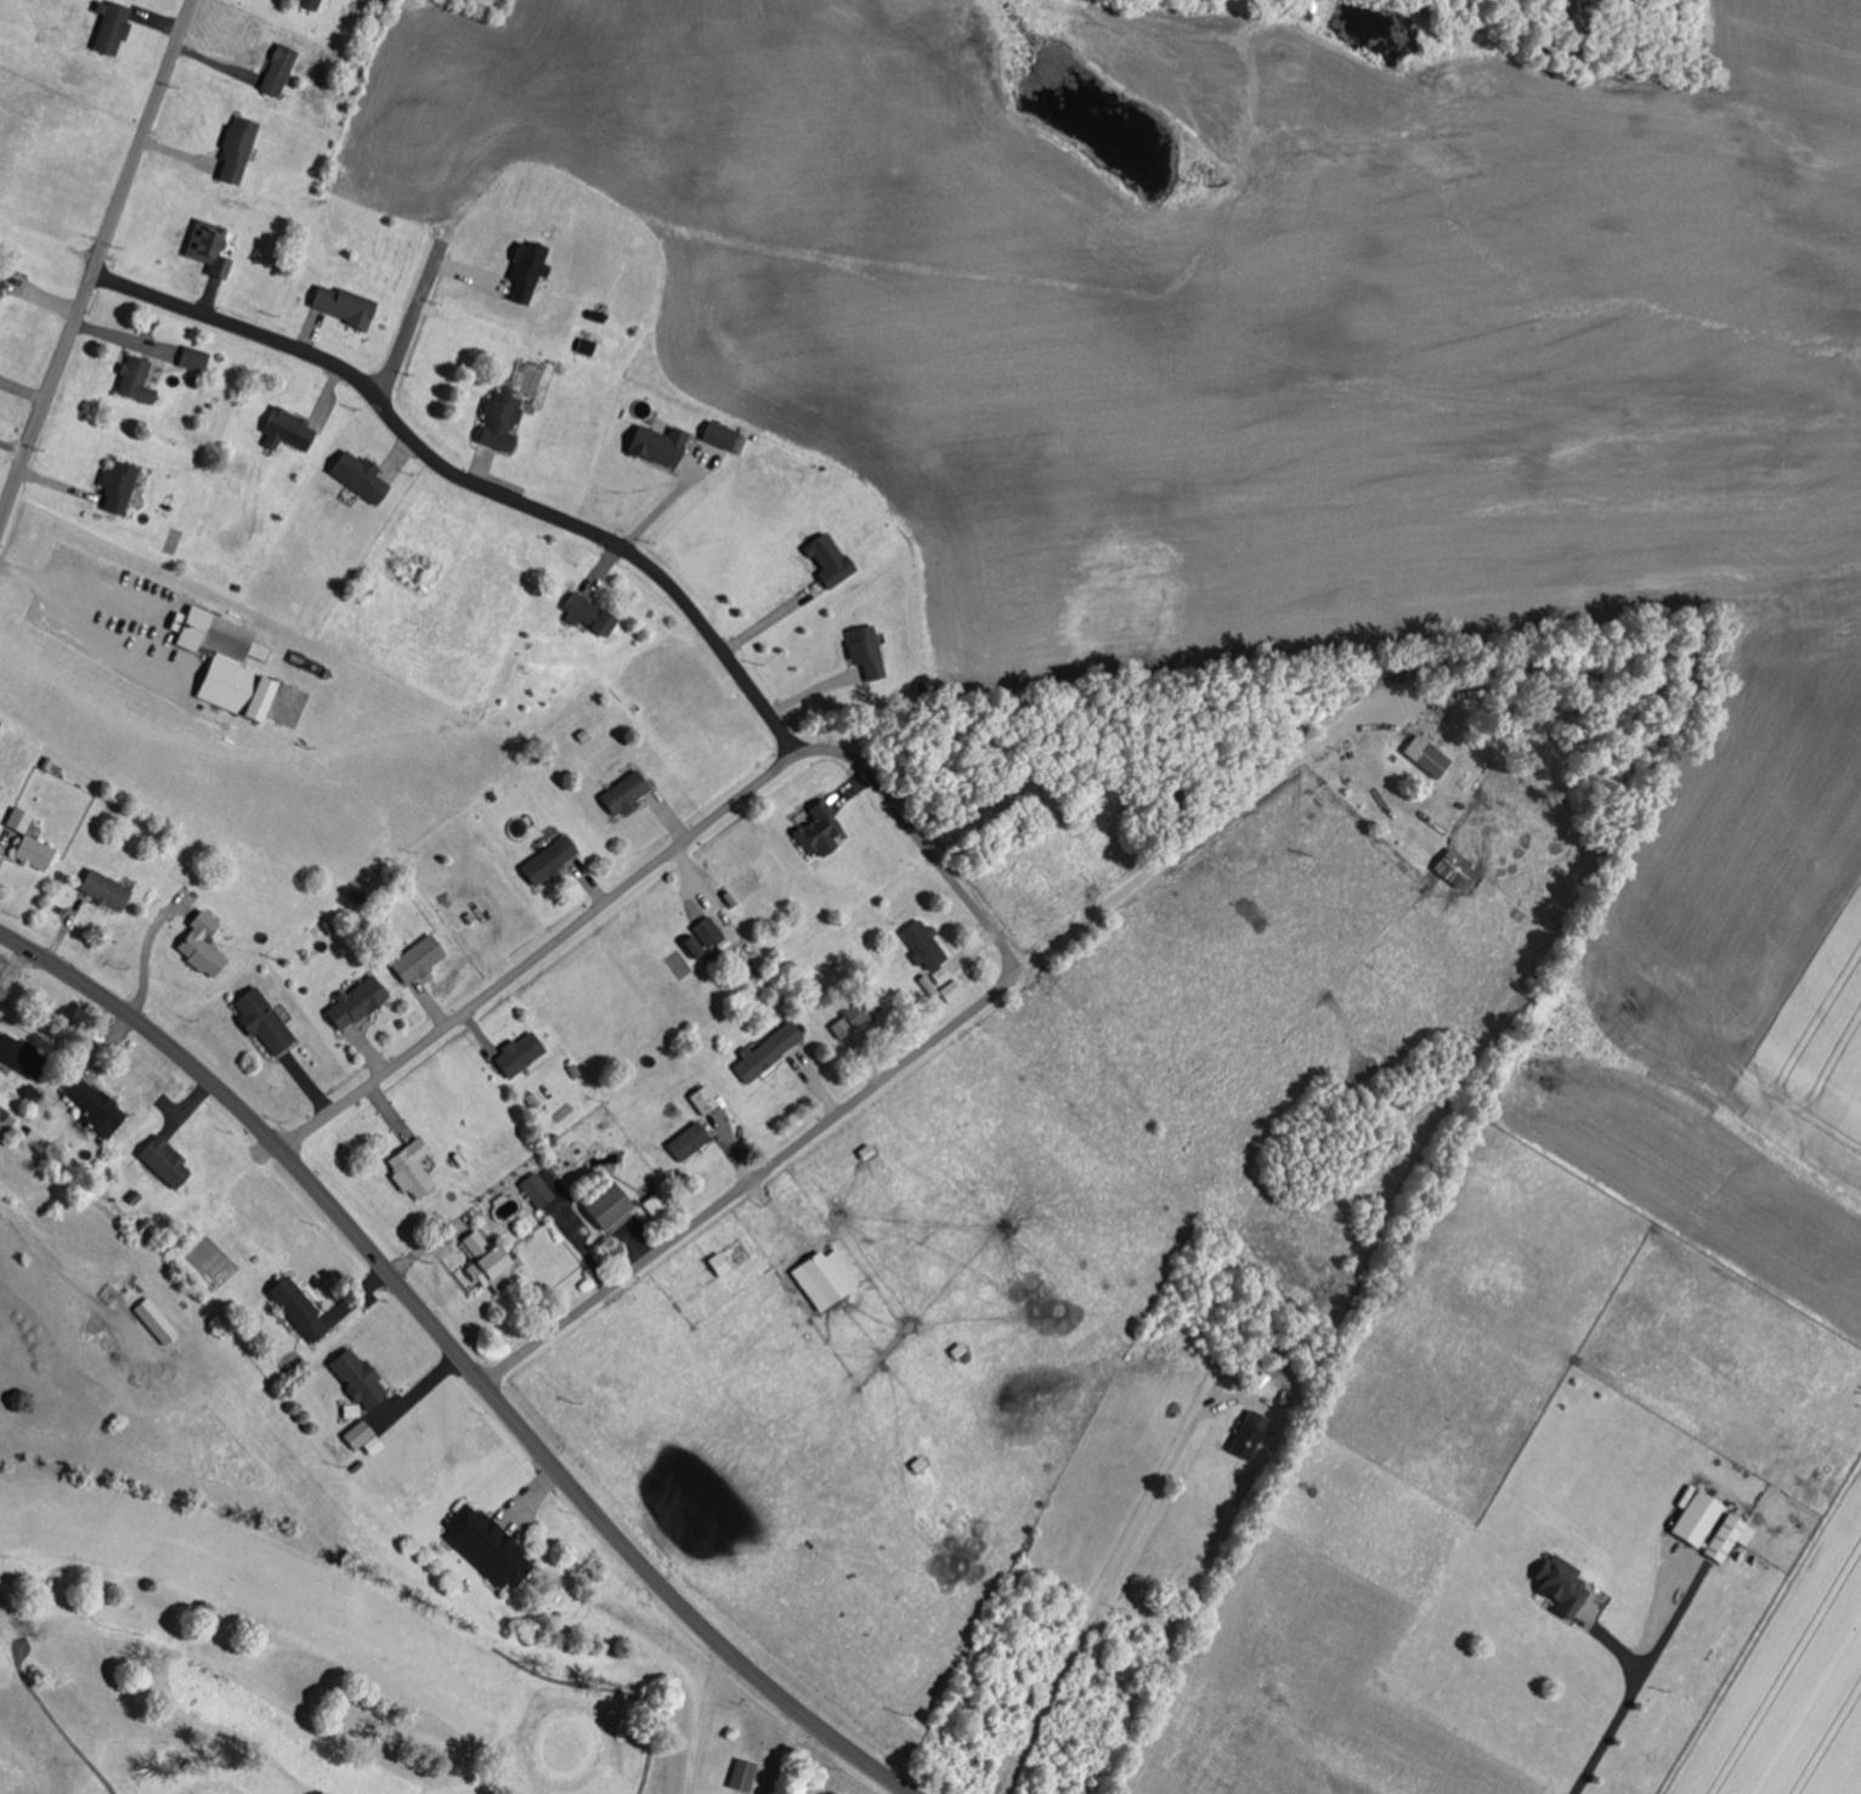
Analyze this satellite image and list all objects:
building: (306, 4)
building: (107, 27)
building: (276, 69)
building: (233, 151)
building: (210, 247)
road: (97, 265)
building: (522, 271)
building: (0, 279)
building: (340, 305)
road: (408, 322)
building: (191, 357)
building: (131, 380)
building: (496, 419)
building: (285, 430)
building: (717, 435)
building: (652, 446)
building: (356, 476)
road: (471, 483)
building: (114, 487)
building: (825, 560)
building: (584, 615)
building: (862, 651)
building: (264, 652)
building: (232, 663)
building: (2, 724)
building: (1422, 755)
building: (630, 792)
road: (1199, 797)
building: (23, 819)
building: (821, 828)
building: (39, 853)
building: (555, 859)
building: (1450, 867)
building: (111, 889)
road: (962, 889)
road: (610, 901)
building: (706, 936)
building: (928, 944)
building: (208, 945)
building: (424, 957)
building: (945, 974)
building: (956, 990)
building: (364, 1001)
building: (268, 1021)
building: (853, 1021)
building: (773, 1049)
building: (525, 1053)
building: (26, 1056)
building: (709, 1099)
building: (101, 1105)
building: (696, 1139)
building: (171, 1161)
building: (418, 1168)
road: (769, 1170)
building: (541, 1190)
building: (617, 1205)
building: (660, 1207)
building: (498, 1262)
building: (725, 1263)
building: (831, 1278)
building: (305, 1309)
building: (162, 1320)
road: (460, 1357)
building: (363, 1377)
building: (1245, 1434)
building: (368, 1437)
building: (1693, 1518)
building: (1725, 1538)
building: (493, 1546)
road: (1110, 1584)
building: (1557, 1584)
park: (237, 1585)
road: (1657, 1612)
building: (743, 1773)

